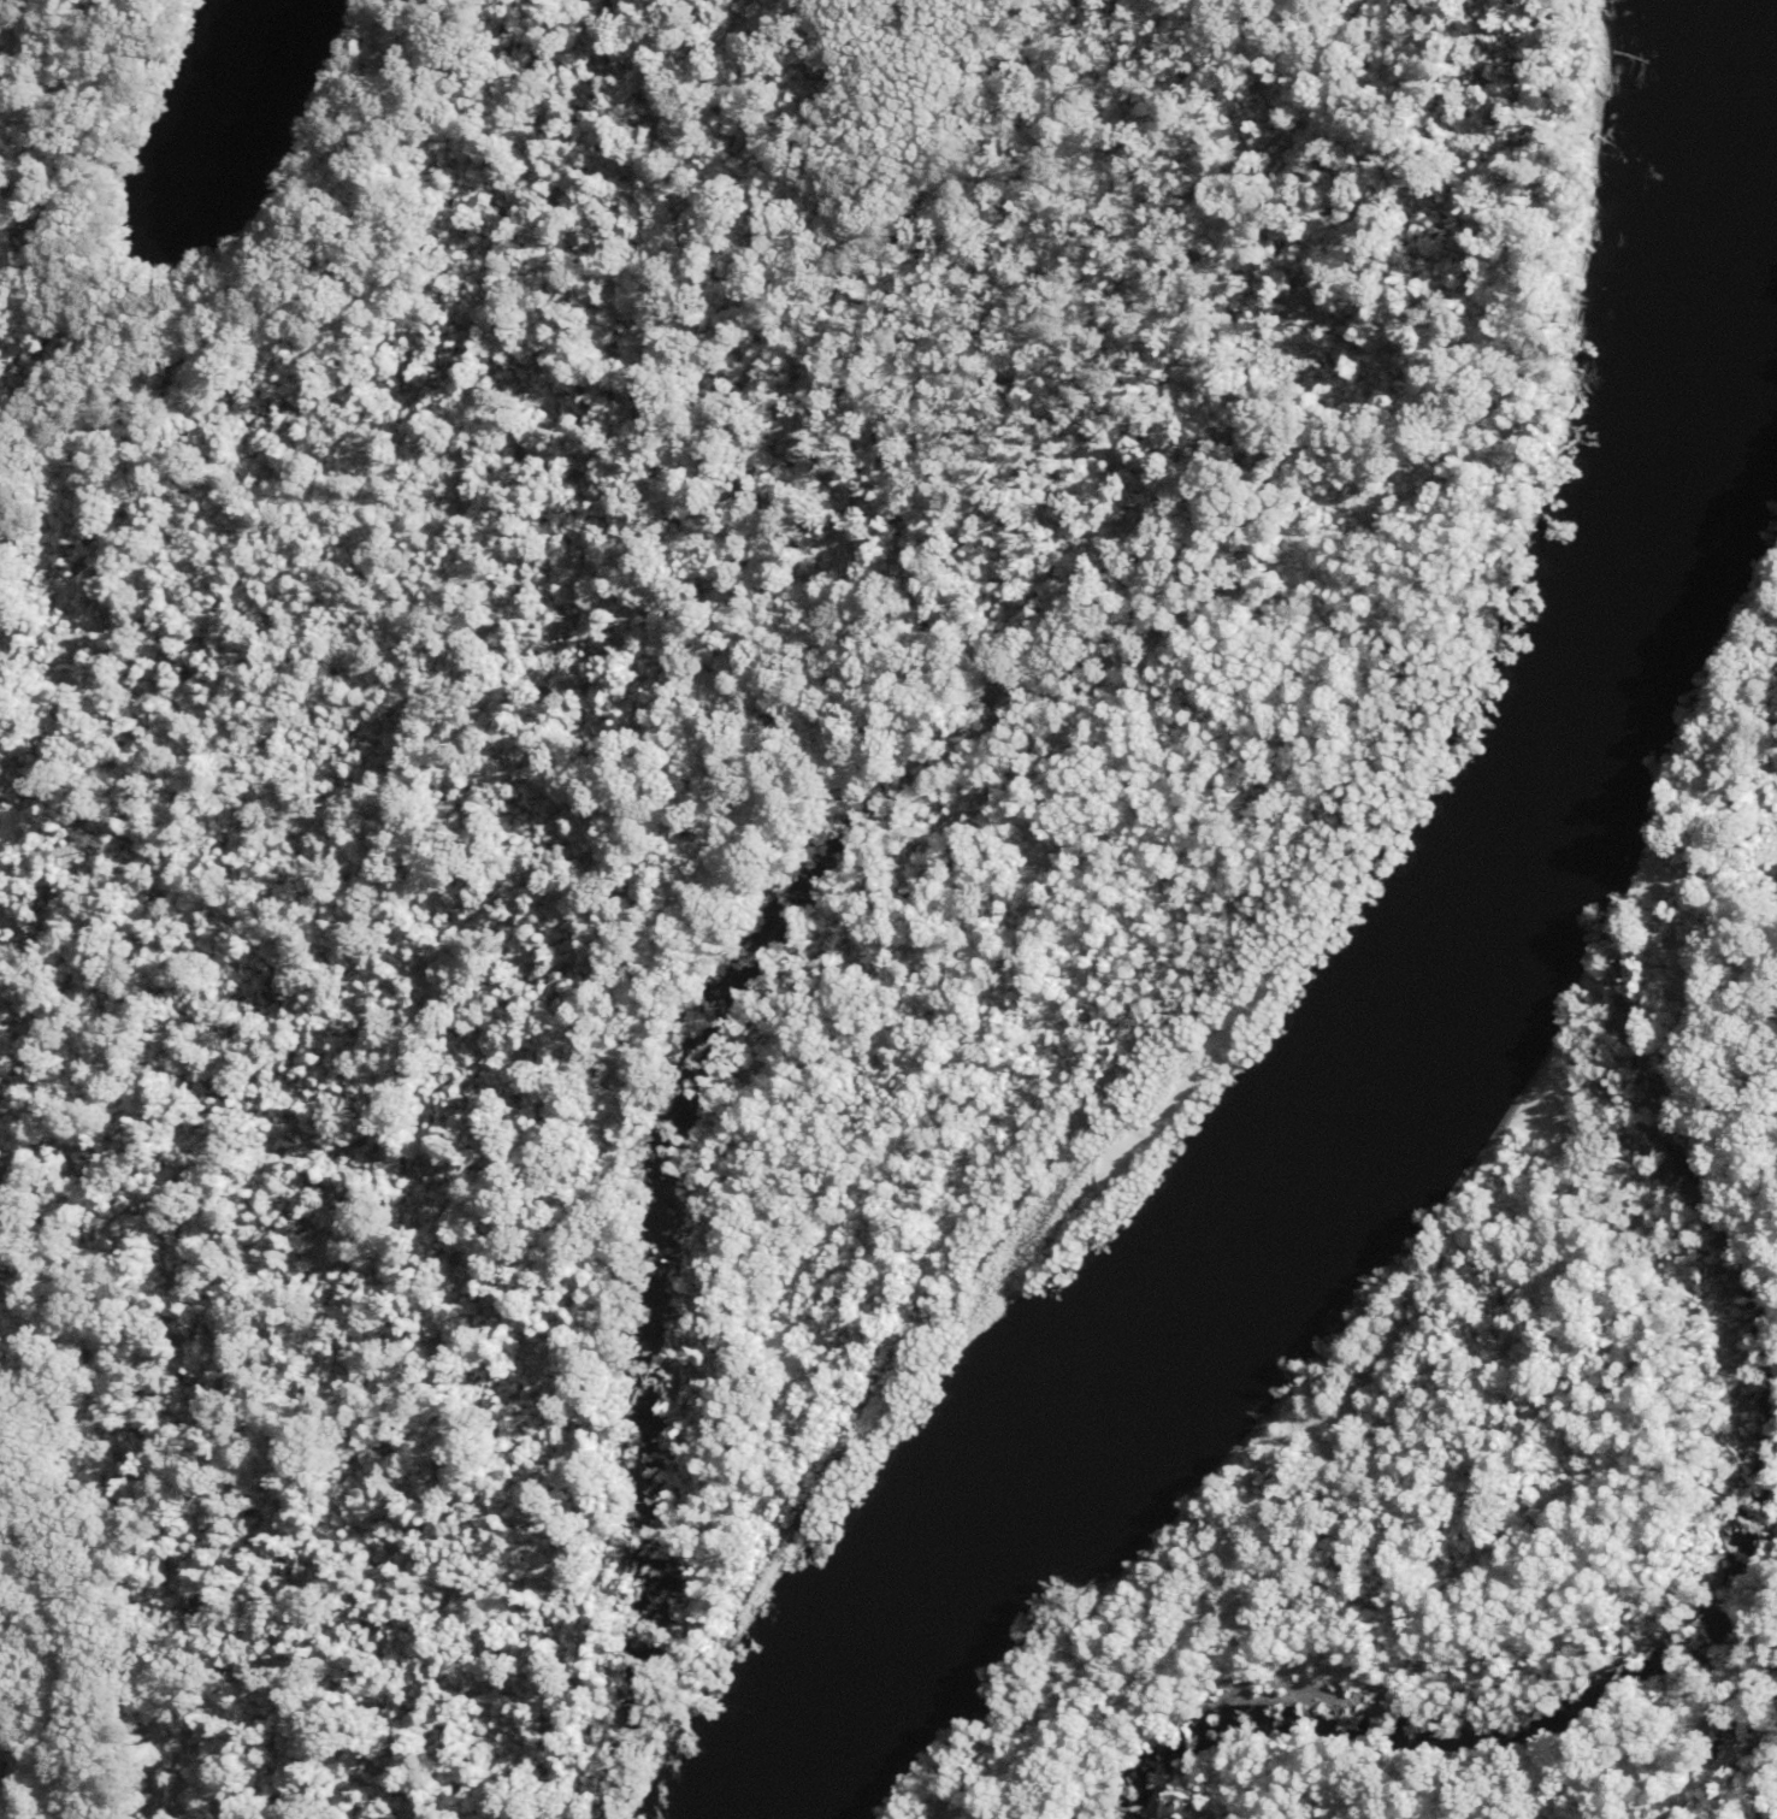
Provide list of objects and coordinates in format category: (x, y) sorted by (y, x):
river: (1433, 994)

